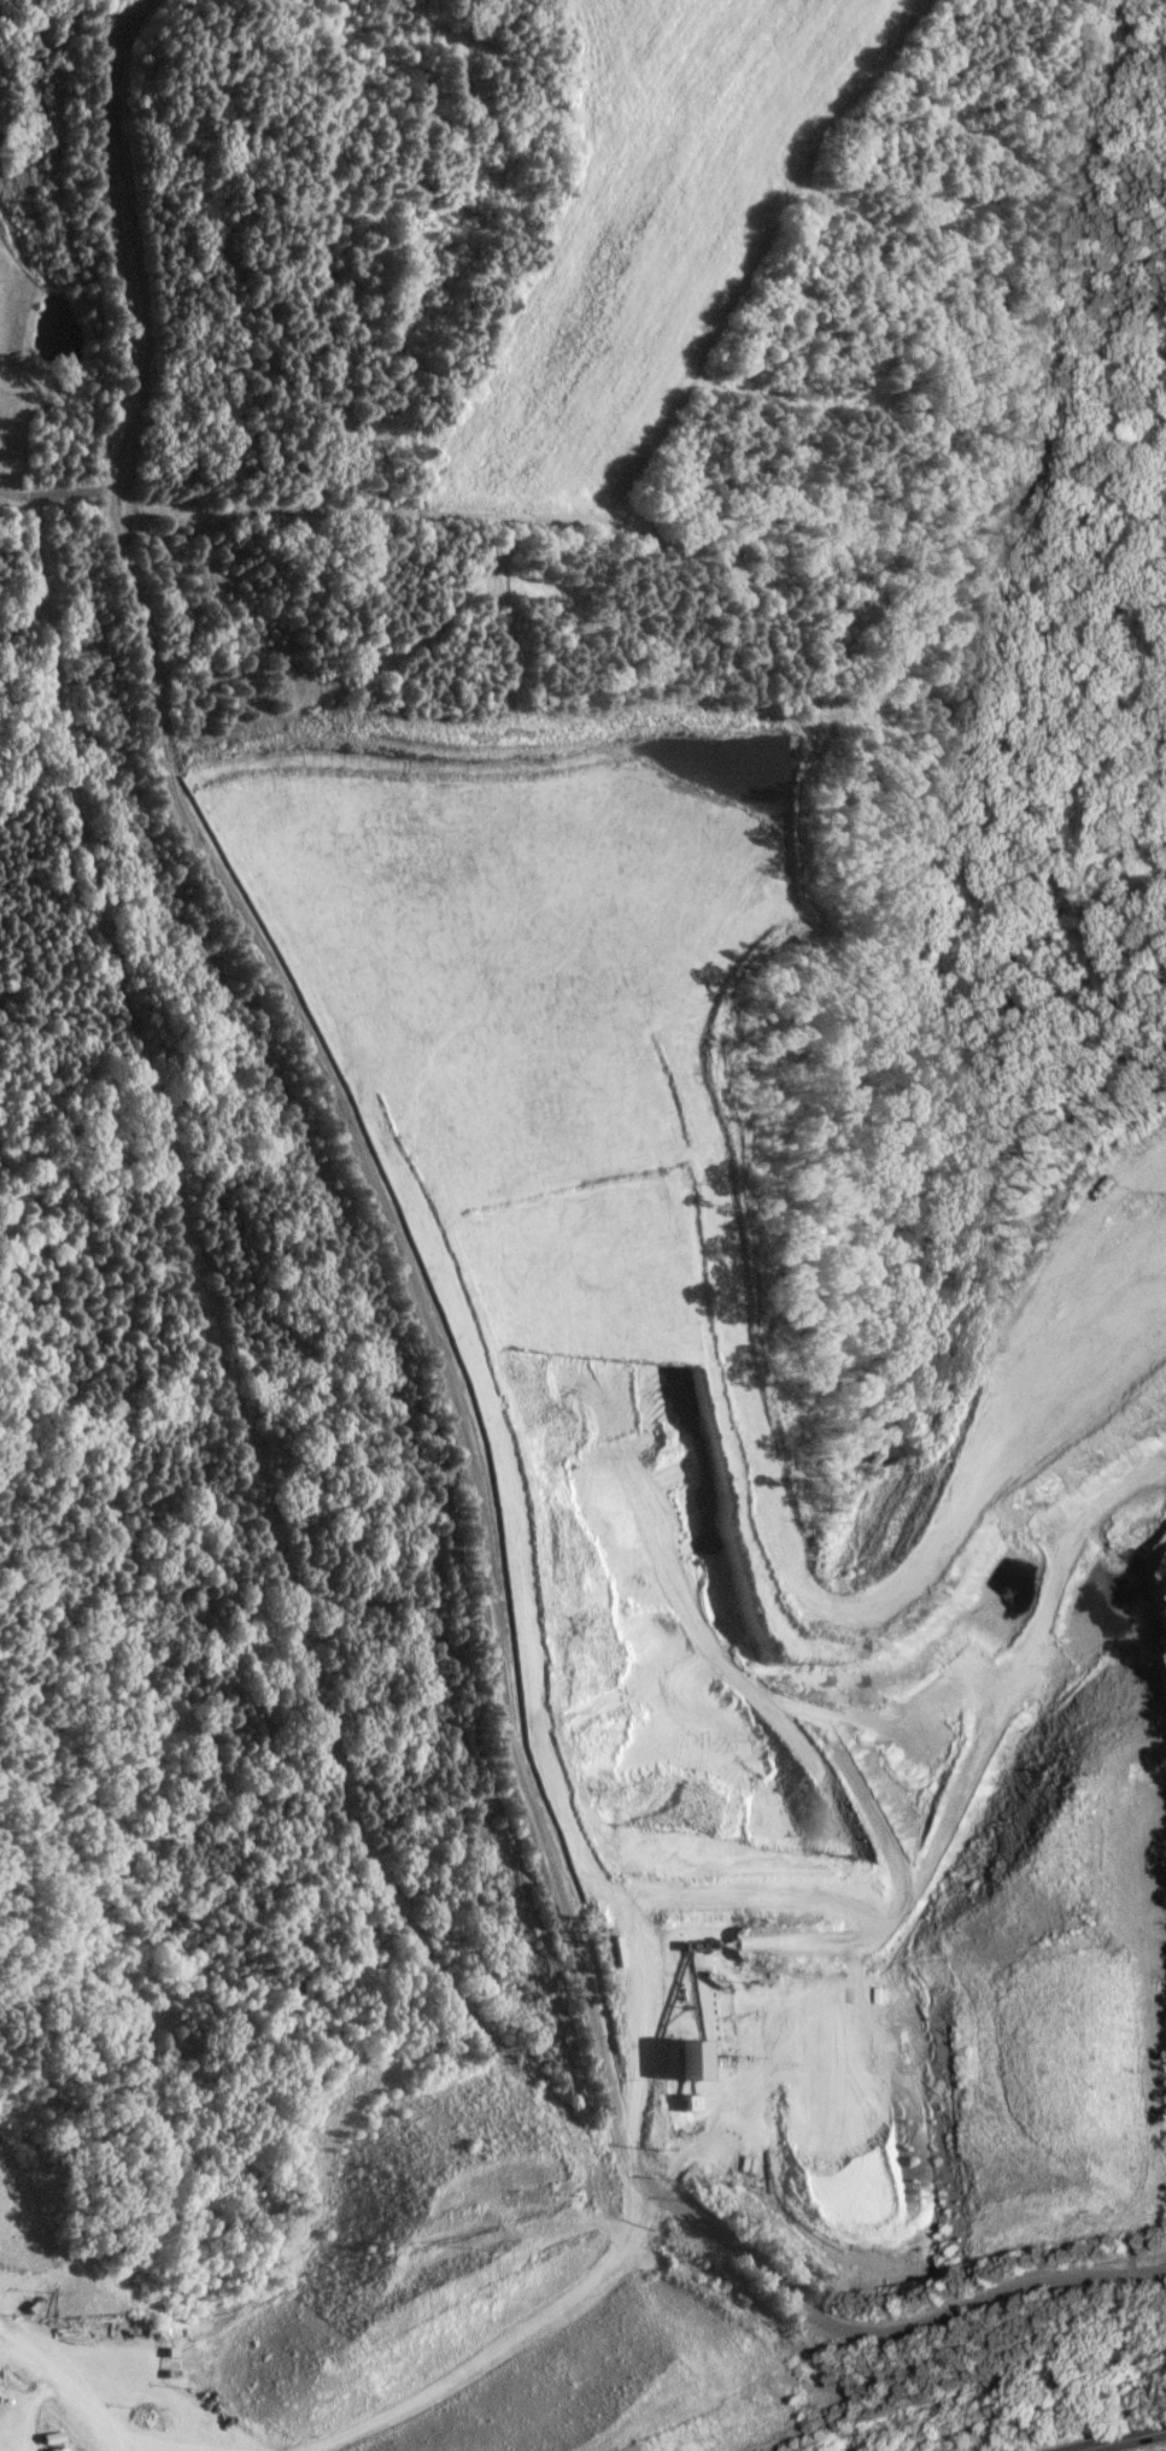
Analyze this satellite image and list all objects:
road: (53, 493)
road: (436, 1353)
road: (506, 2341)
road: (1120, 2440)
building: (54, 2449)

